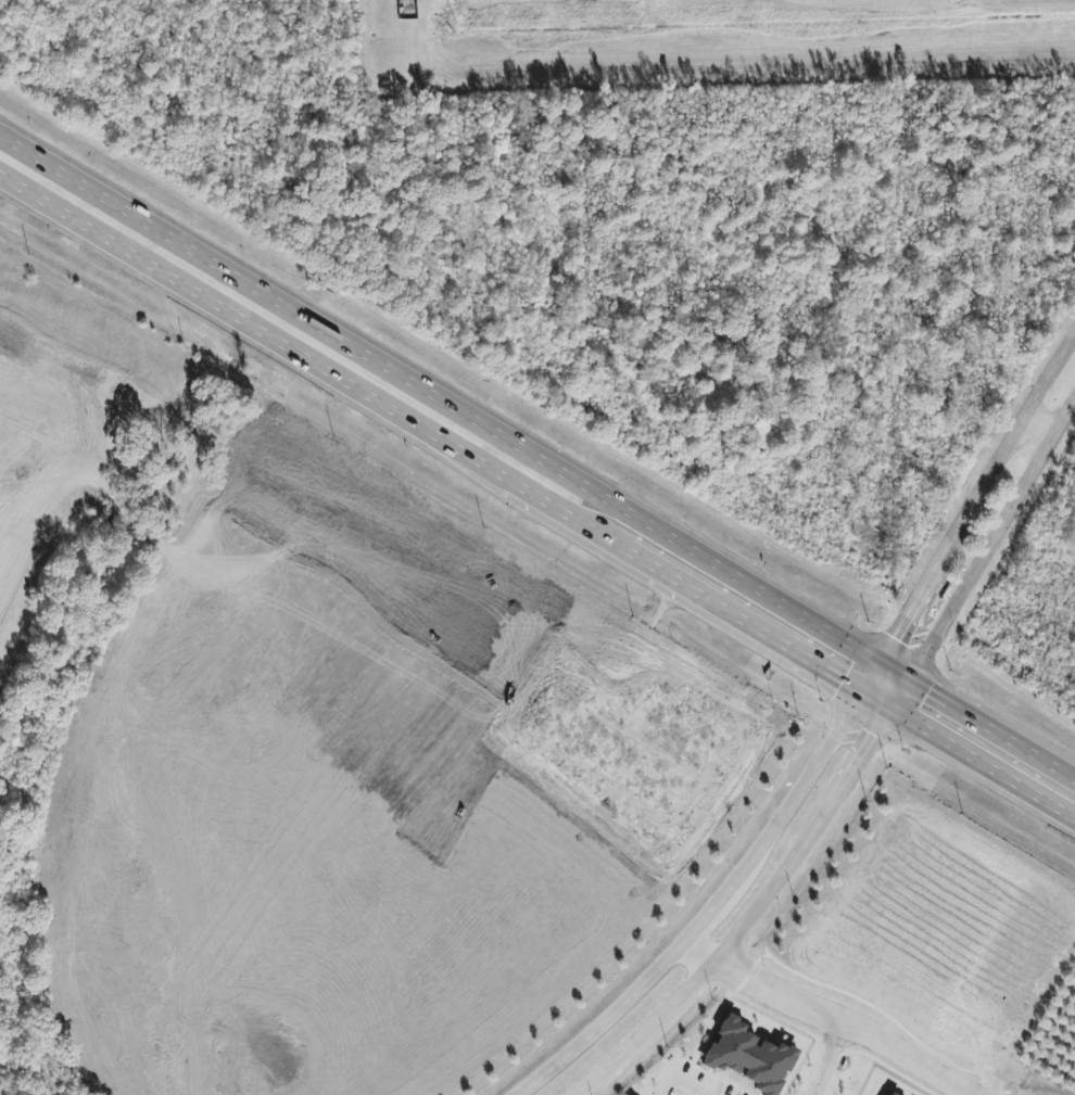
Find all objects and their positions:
road: (253, 326)
road: (438, 400)
road: (1039, 425)
road: (975, 499)
road: (568, 513)
road: (990, 540)
road: (745, 620)
traffic signals: (876, 664)
road: (891, 673)
road: (869, 676)
traffic signals: (908, 683)
traffic signals: (861, 689)
road: (899, 695)
road: (876, 698)
traffic signals: (891, 706)
road: (991, 731)
road: (983, 761)
road: (710, 907)
road: (752, 915)
road: (813, 1022)
building: (749, 1057)
road: (826, 1066)
road: (683, 1090)
building: (889, 1094)

